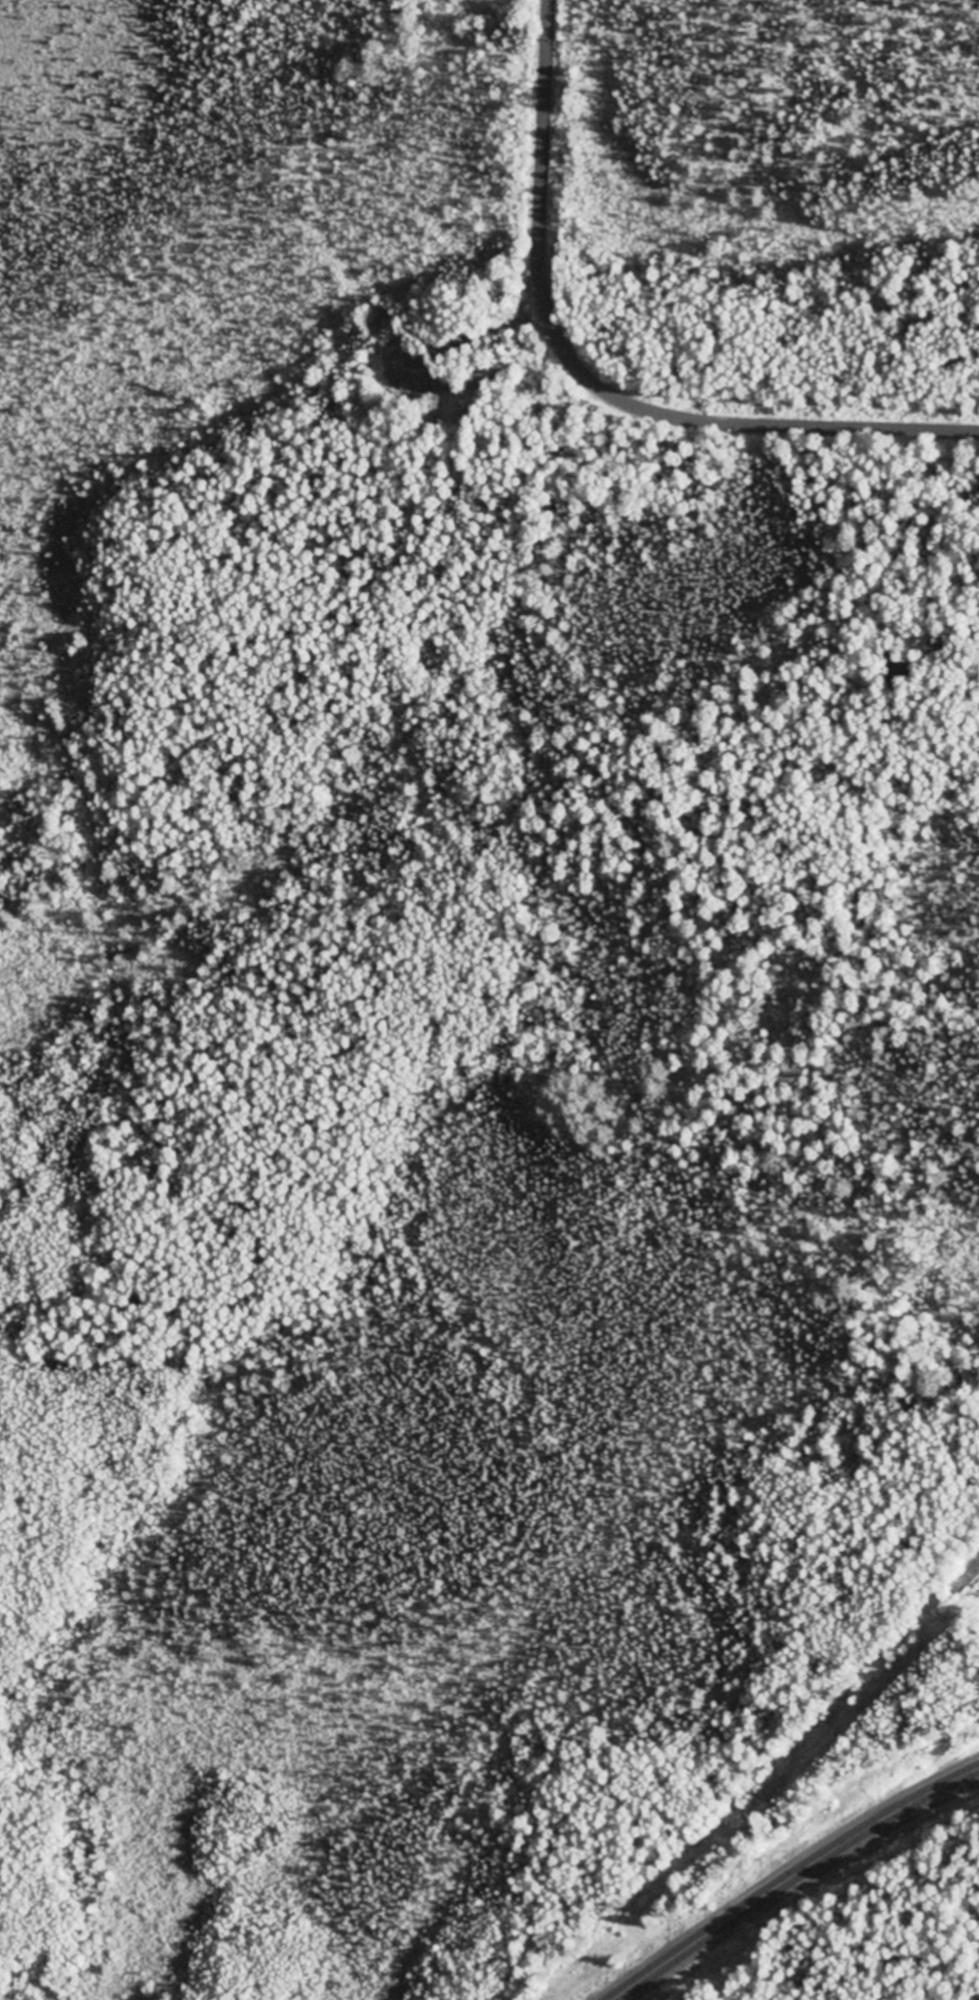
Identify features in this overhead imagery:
road: (592, 379)
road: (968, 1570)
road: (792, 1877)

